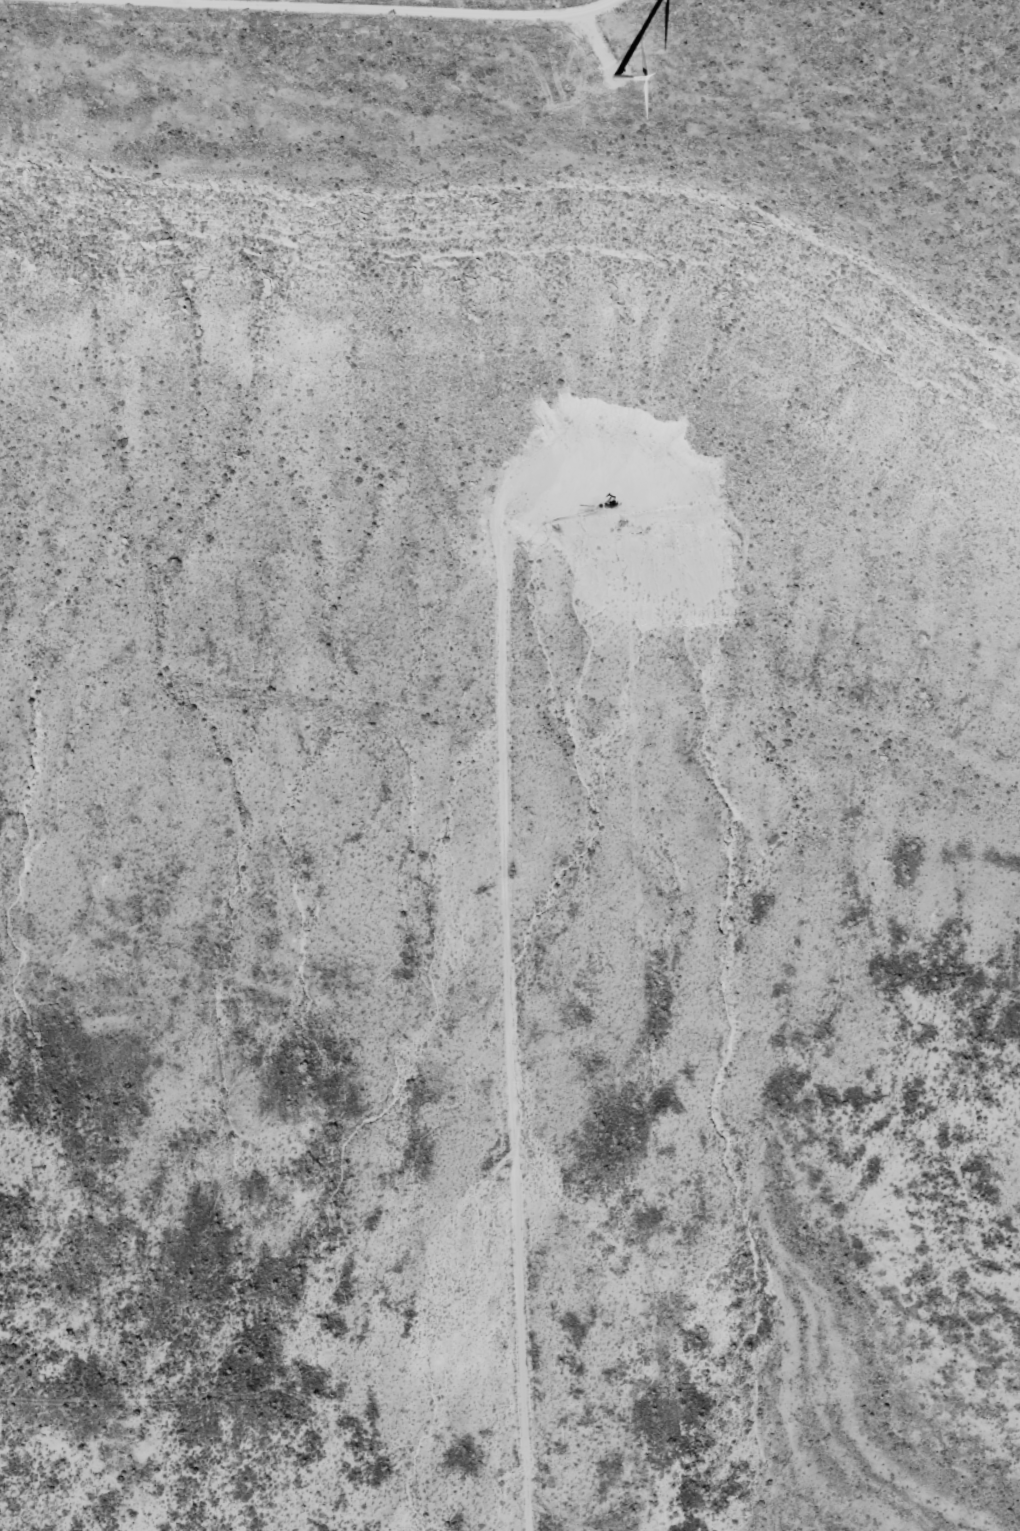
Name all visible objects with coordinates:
wind turbine: (616, 62)

